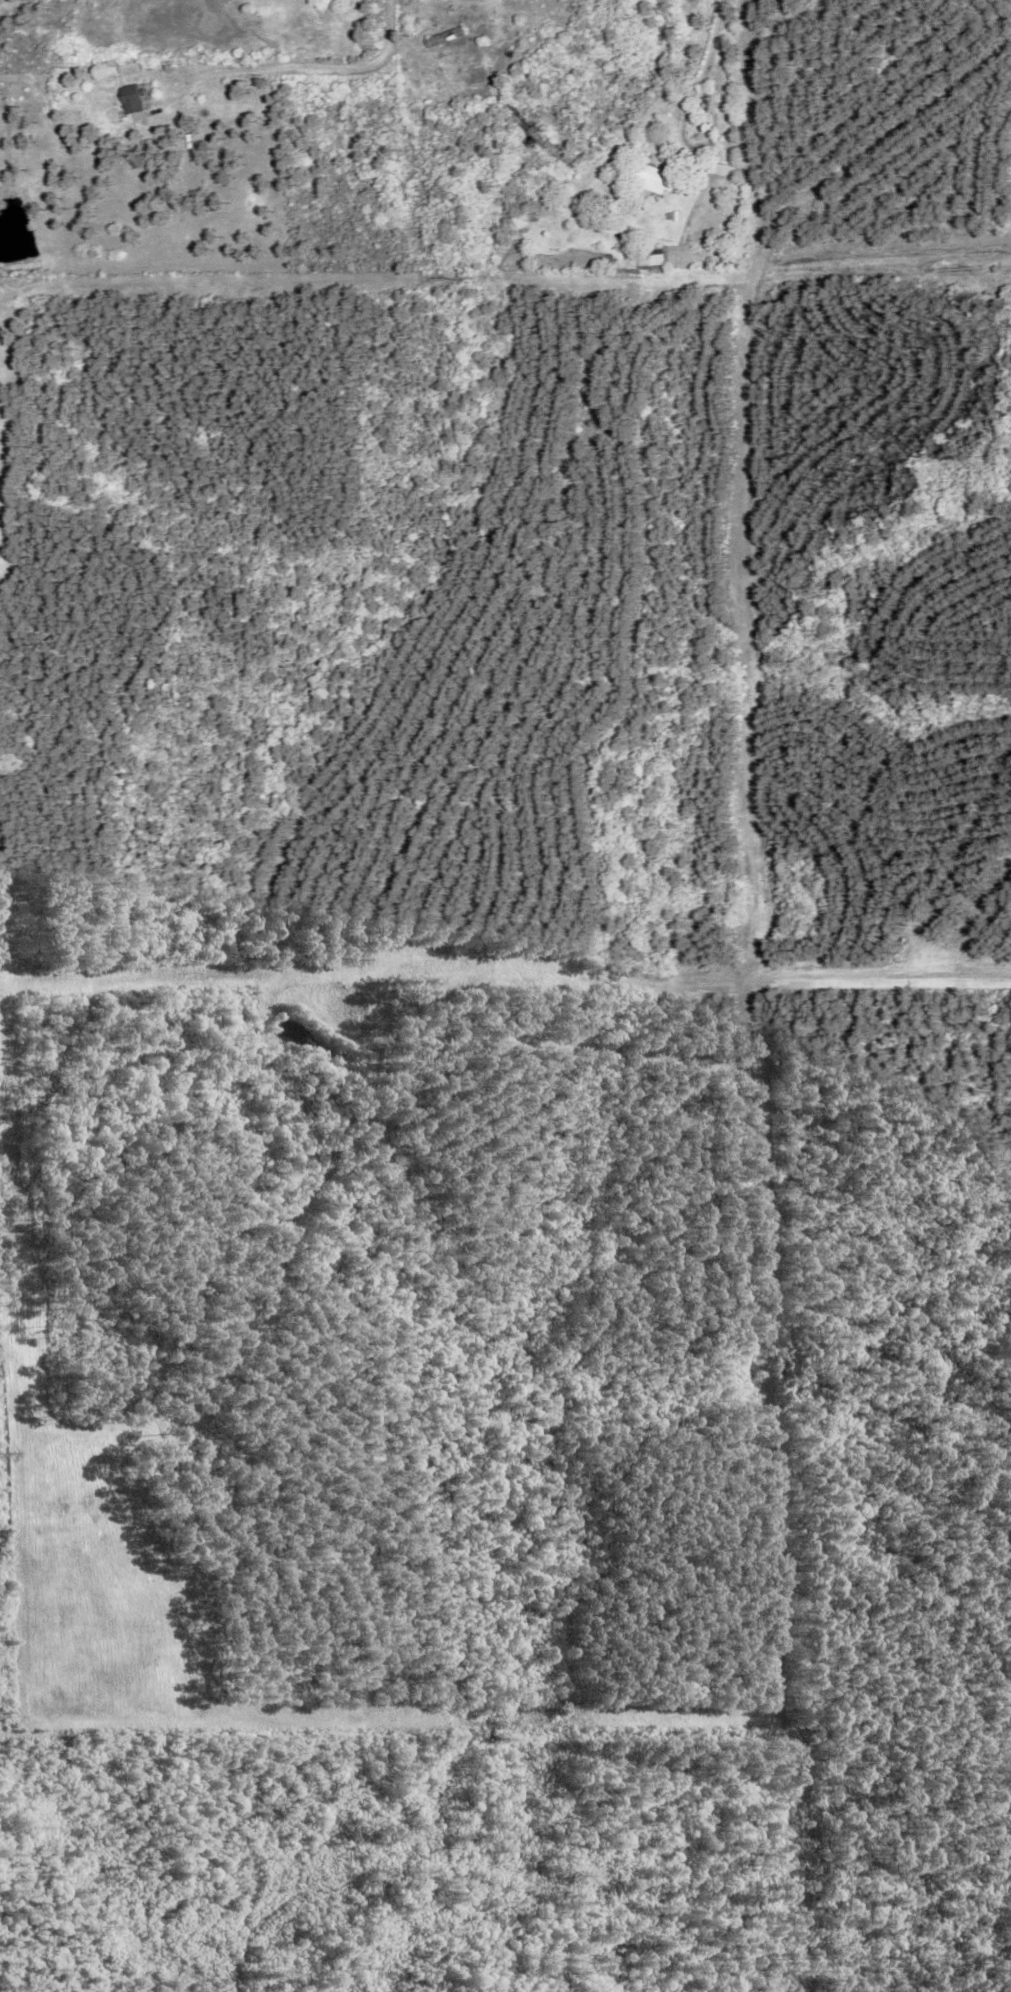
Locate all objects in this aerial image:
road: (301, 65)
building: (132, 99)
road: (715, 124)
building: (653, 178)
building: (671, 213)
building: (647, 252)

